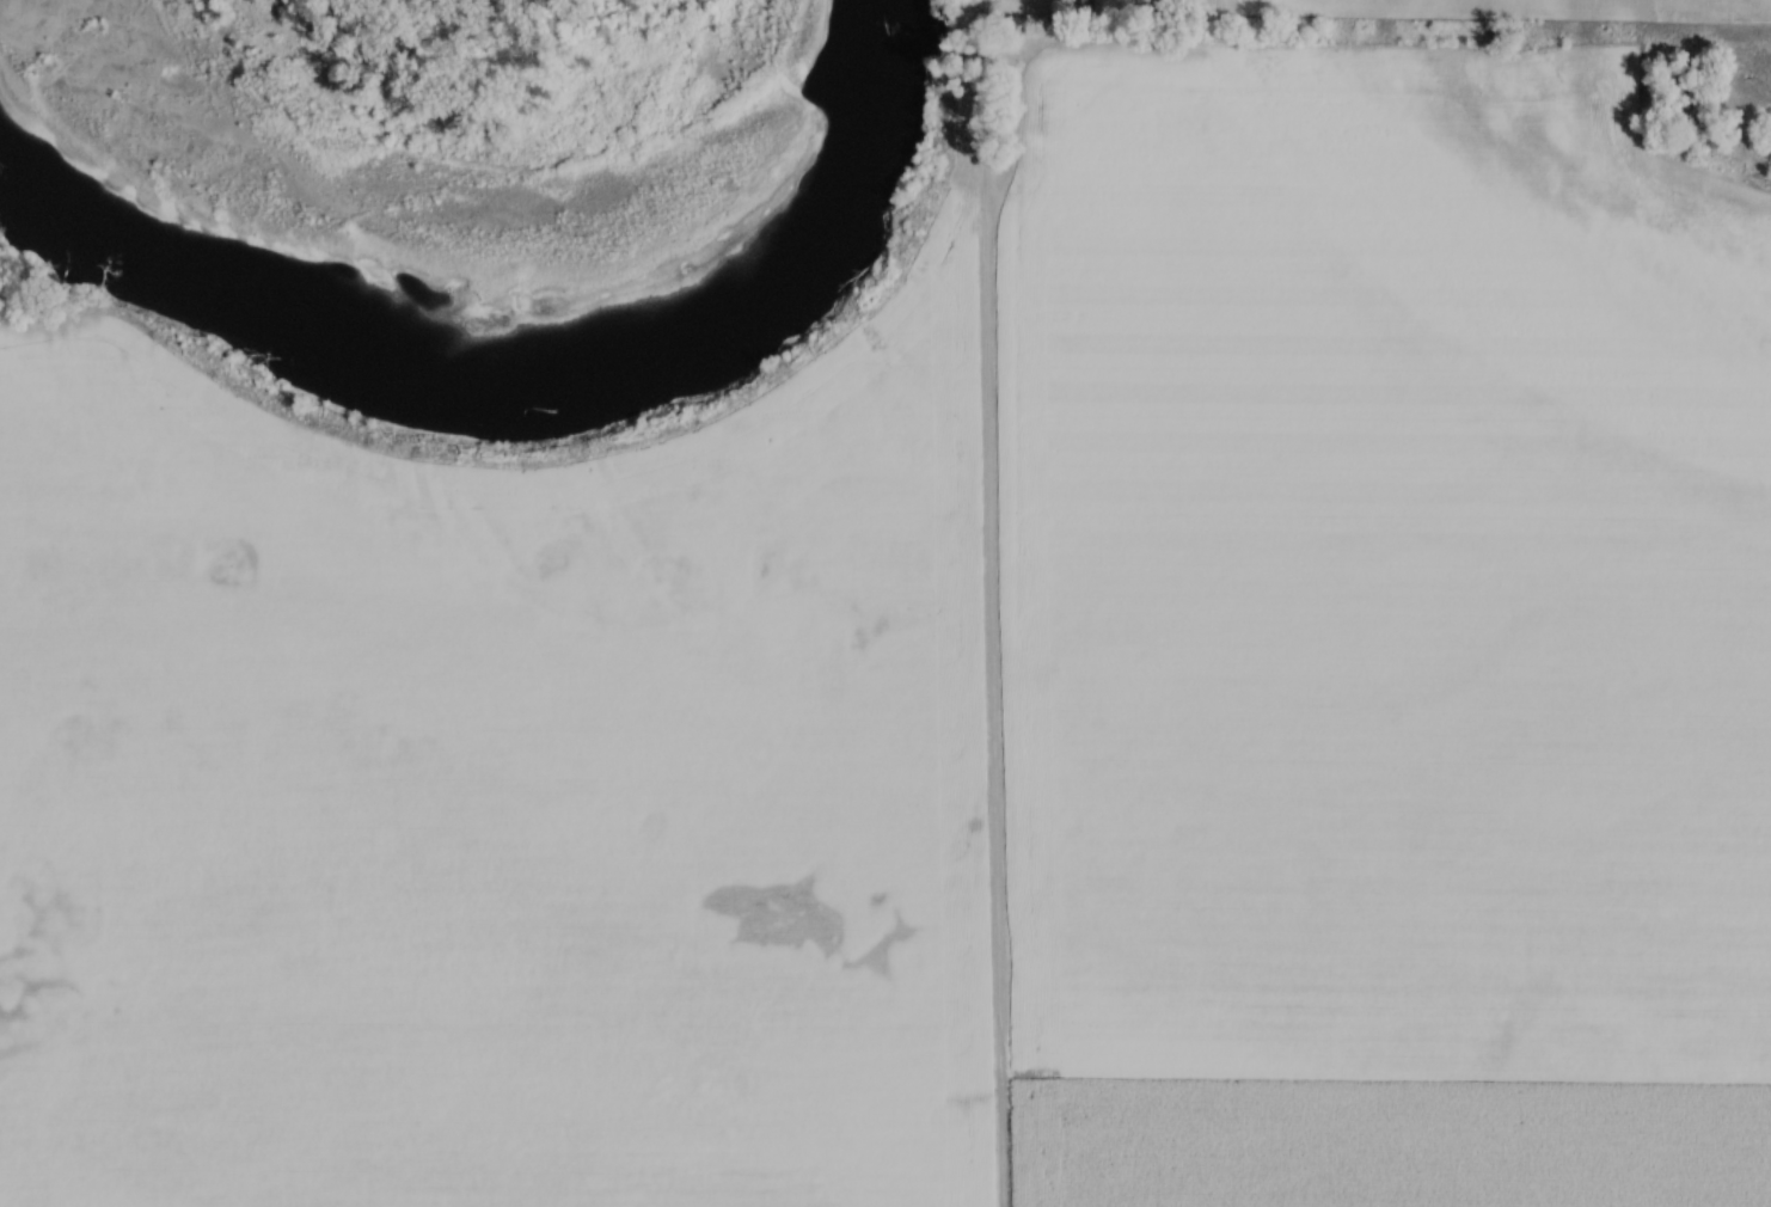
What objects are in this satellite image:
building: (1160, 2)
river: (498, 312)
road: (989, 603)

